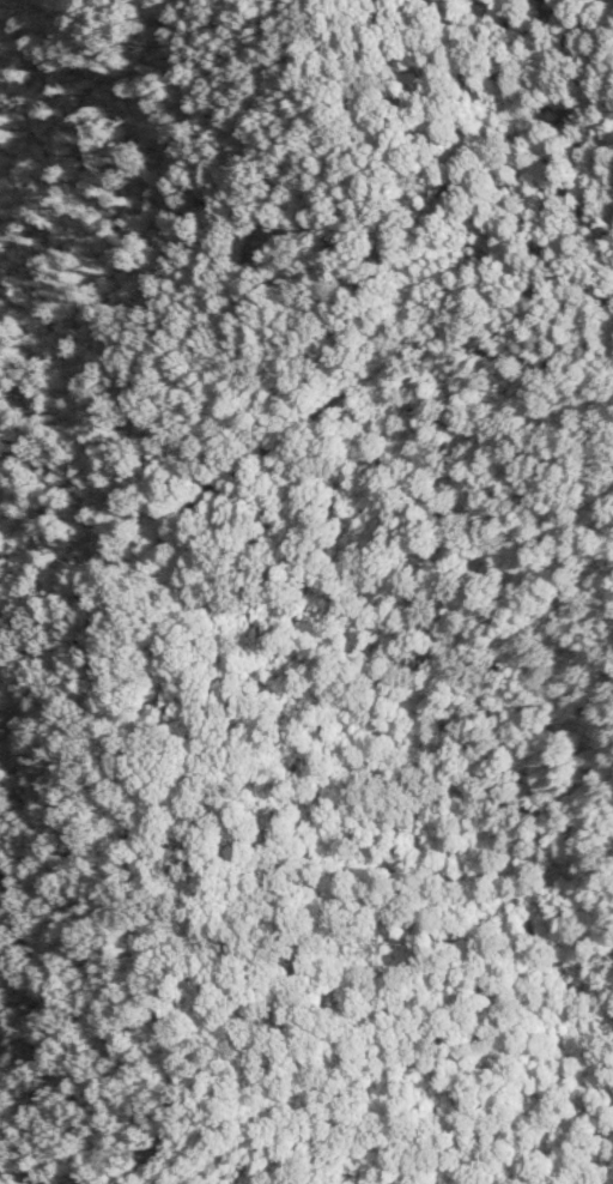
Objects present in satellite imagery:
road: (162, 410)

